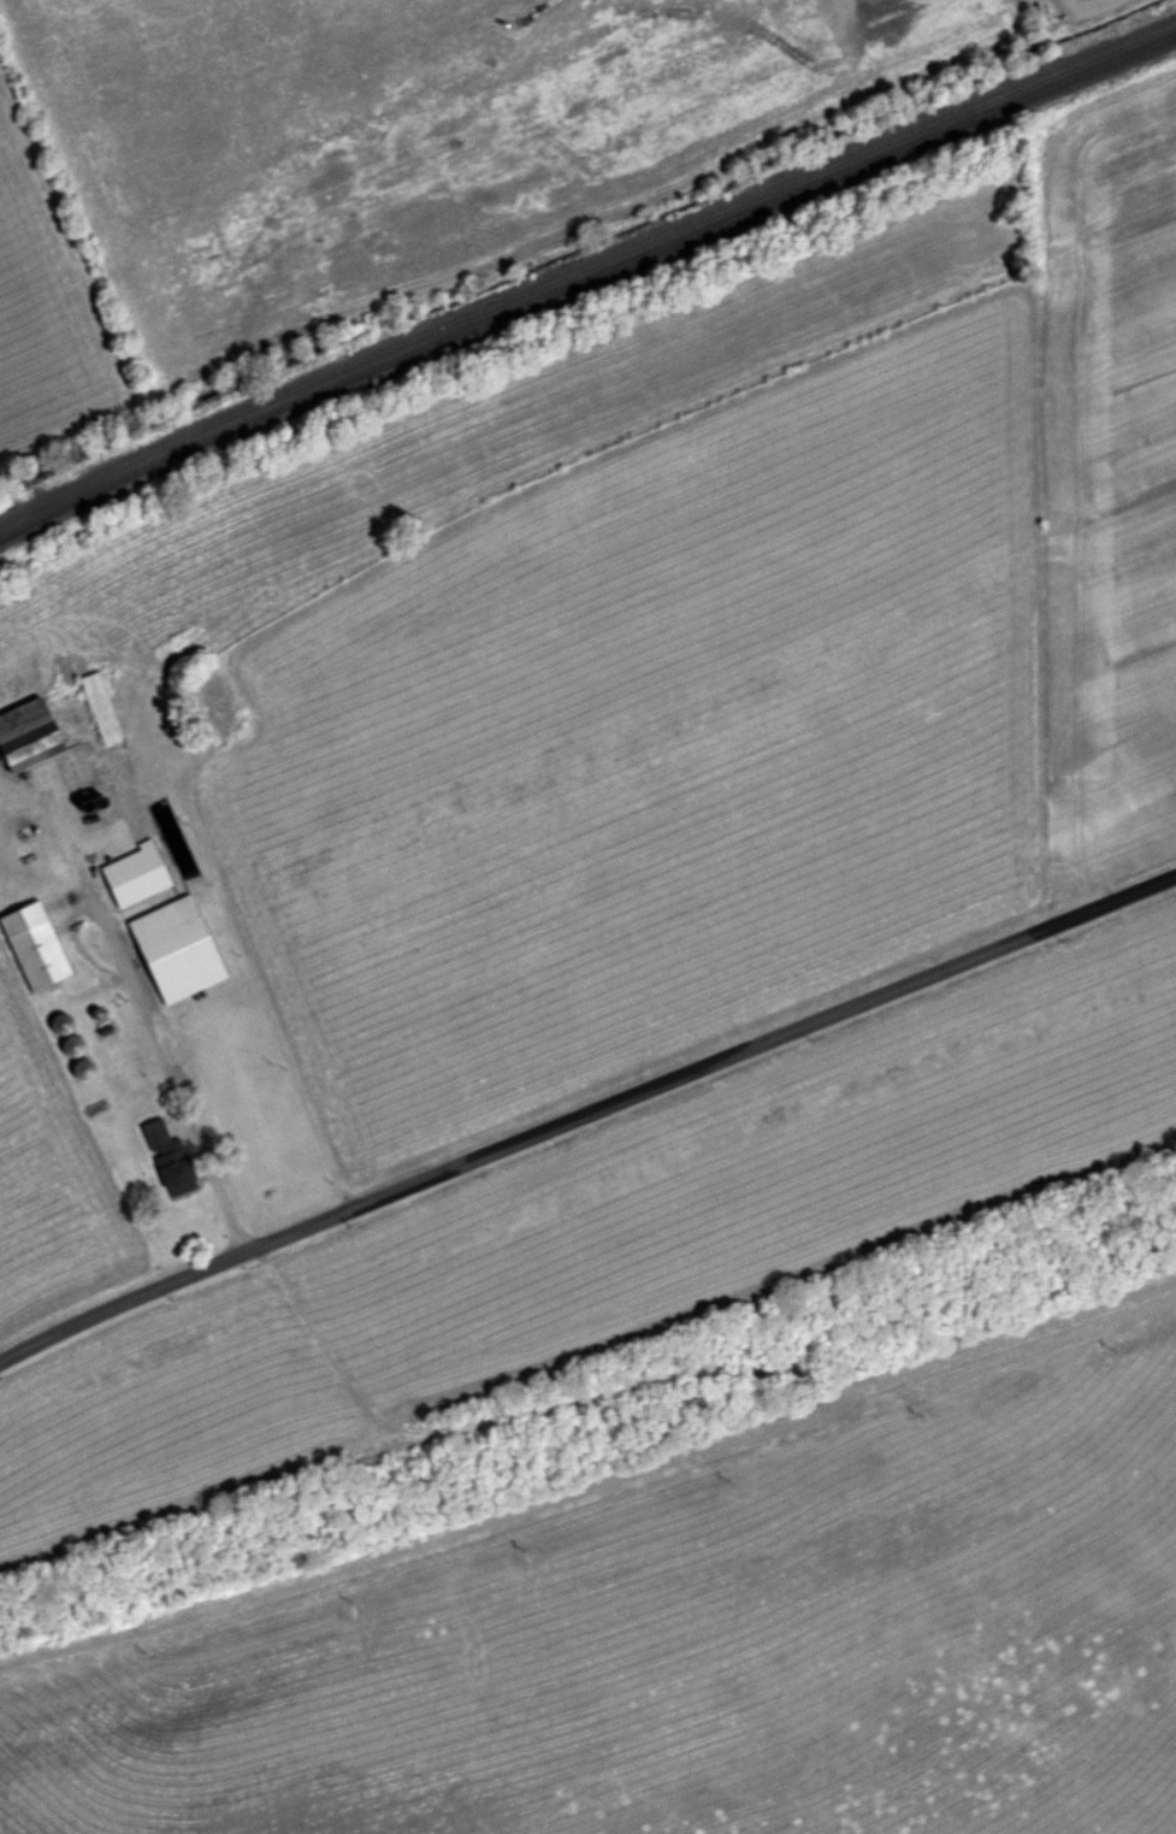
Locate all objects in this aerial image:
road: (1086, 8)
railway: (584, 279)
crop: (47, 300)
building: (60, 725)
crop: (715, 732)
building: (140, 875)
building: (41, 916)
building: (181, 950)
road: (244, 974)
road: (141, 1039)
road: (586, 1113)
building: (176, 1161)
crop: (53, 1197)
crop: (611, 1237)
crop: (695, 1638)

